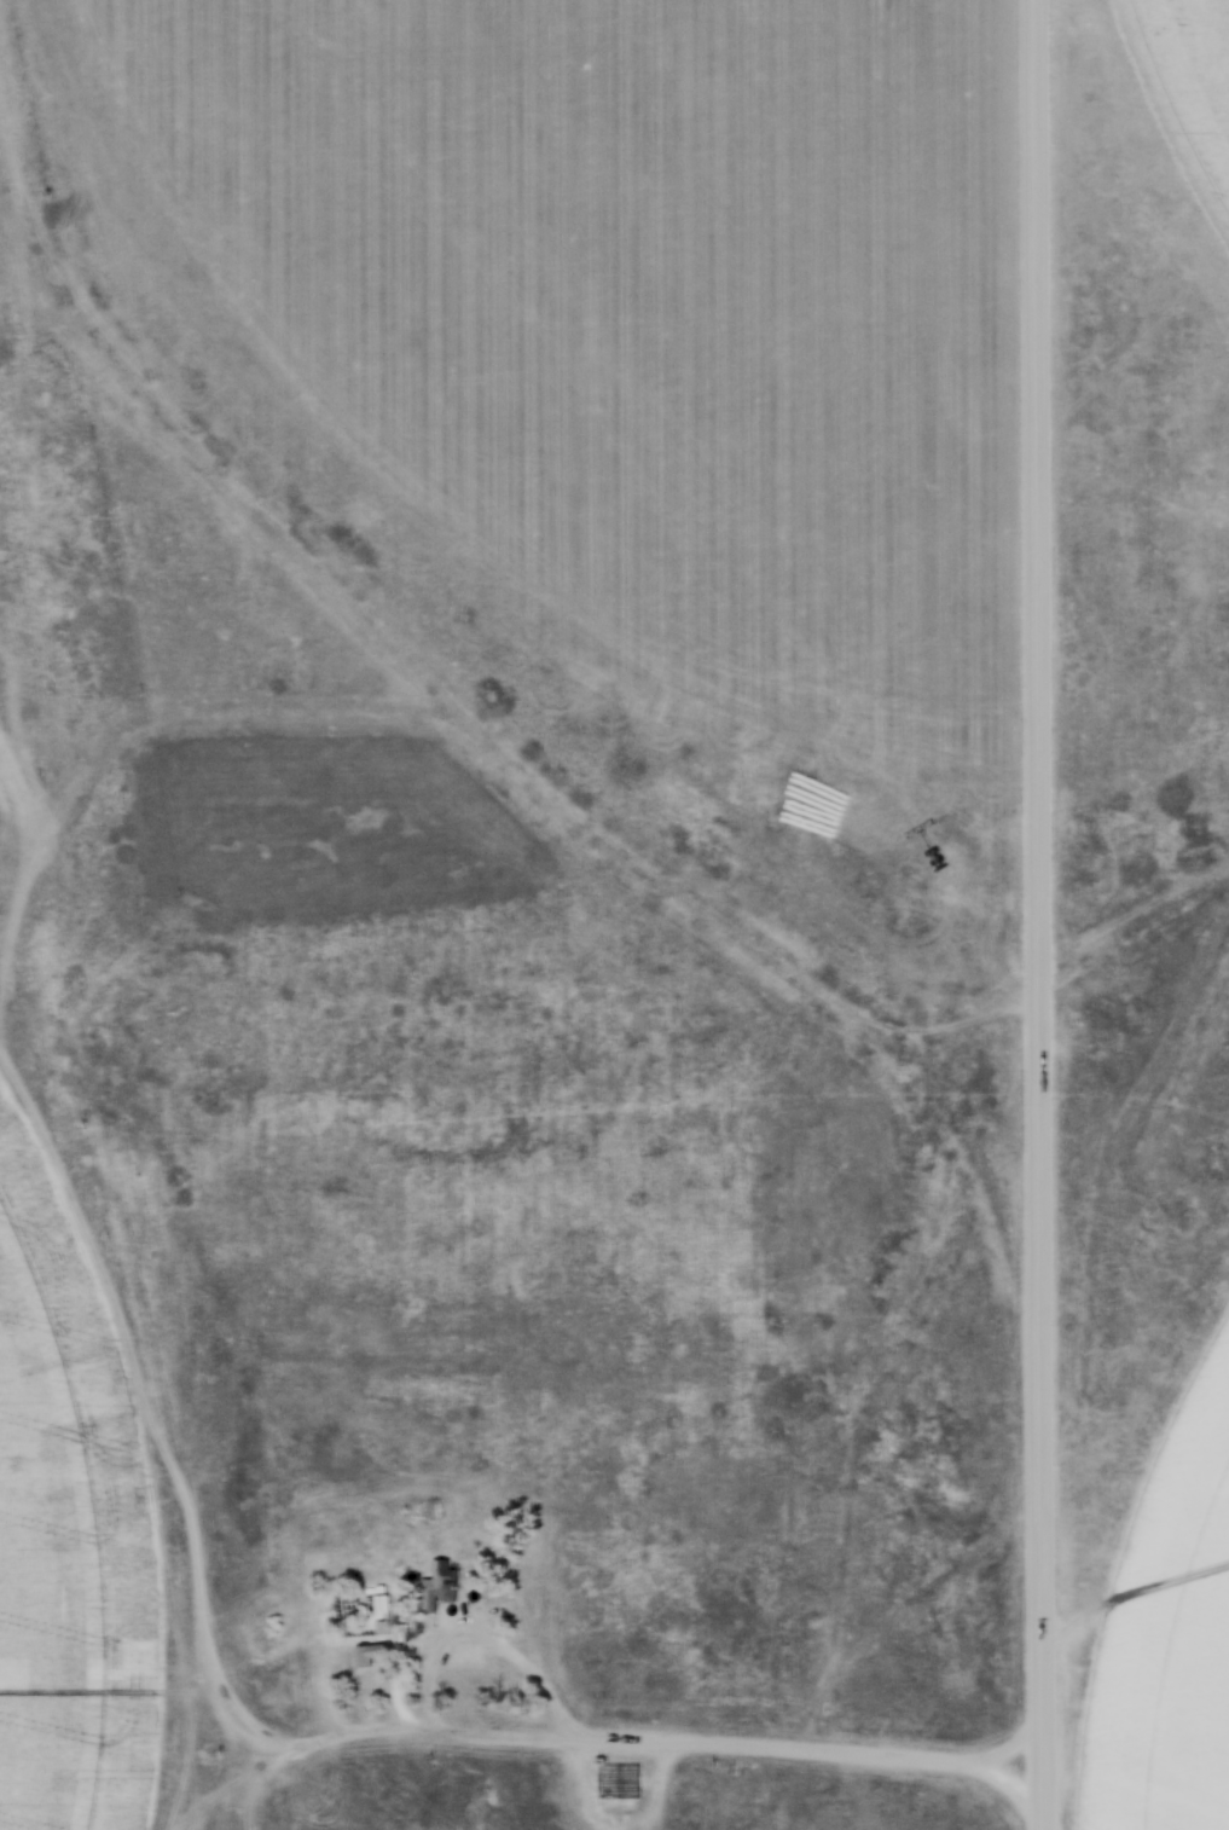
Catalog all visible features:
crop: (1193, 82)
crop: (633, 306)
road: (1036, 915)
crop: (64, 1540)
building: (439, 1585)
crop: (1167, 1610)
road: (504, 1647)
building: (371, 1654)
road: (665, 1738)
building: (619, 1778)

